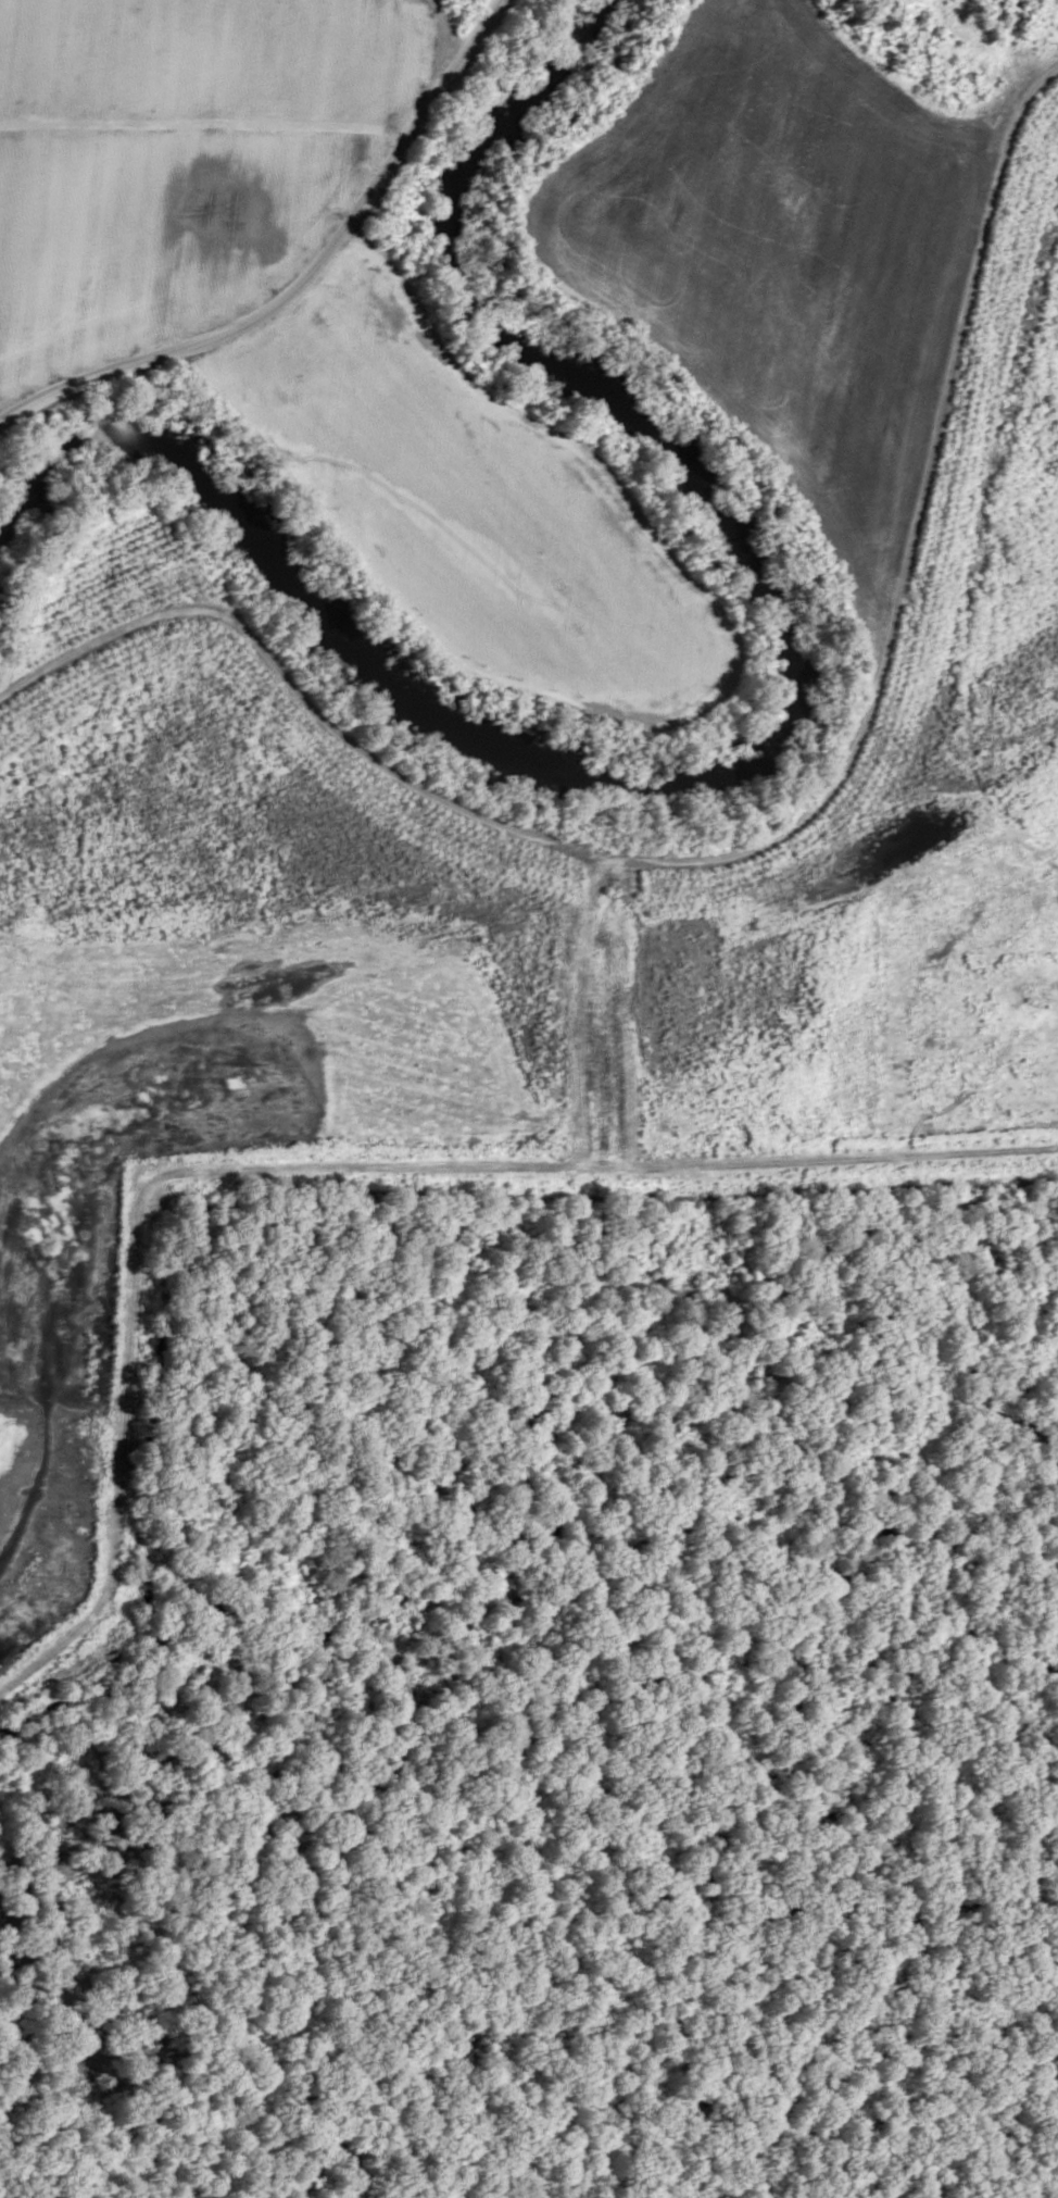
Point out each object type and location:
road: (881, 110)
road: (297, 273)
road: (736, 851)

